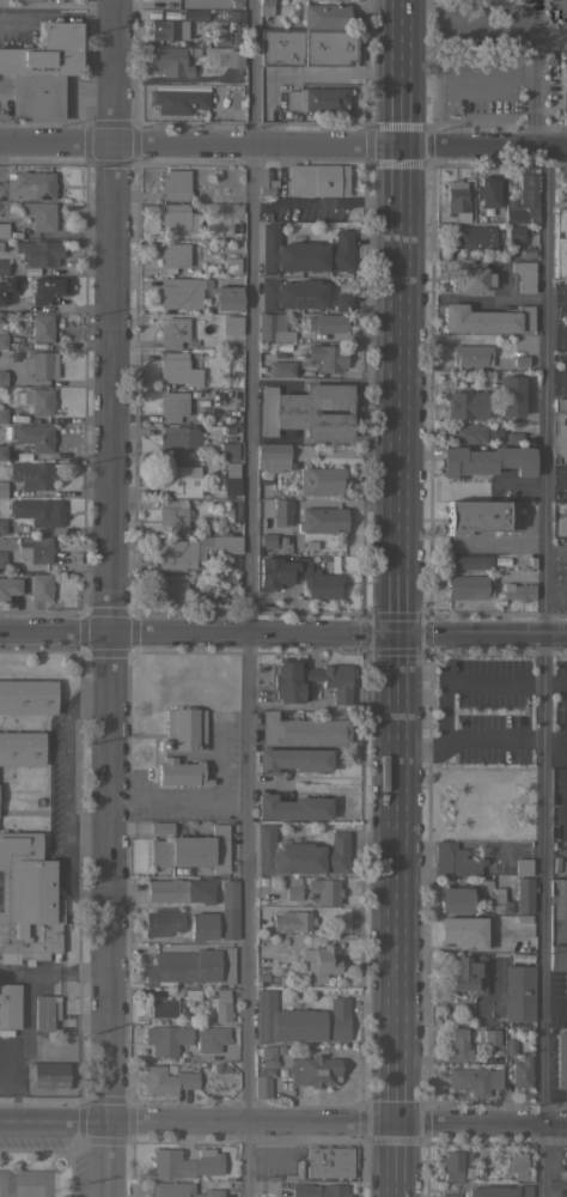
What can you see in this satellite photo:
building: (38, 0)
building: (65, 0)
building: (17, 1)
road: (54, 5)
building: (266, 7)
road: (53, 14)
building: (236, 16)
building: (325, 16)
road: (487, 23)
building: (166, 29)
road: (549, 45)
building: (309, 47)
building: (234, 57)
building: (172, 60)
building: (42, 71)
road: (532, 73)
road: (492, 74)
building: (236, 97)
building: (179, 98)
building: (317, 99)
building: (565, 101)
road: (283, 145)
building: (318, 180)
building: (267, 182)
building: (176, 184)
building: (28, 186)
building: (488, 192)
building: (457, 201)
building: (524, 201)
building: (41, 214)
building: (178, 219)
building: (4, 230)
building: (516, 235)
building: (474, 236)
building: (560, 245)
building: (39, 253)
building: (304, 253)
building: (528, 254)
building: (181, 259)
building: (230, 261)
building: (4, 267)
building: (524, 275)
building: (470, 277)
building: (8, 287)
building: (49, 288)
building: (182, 292)
building: (292, 294)
building: (227, 297)
building: (343, 302)
parking lot: (561, 316)
building: (487, 318)
building: (327, 322)
building: (232, 324)
building: (42, 327)
building: (274, 328)
building: (173, 332)
building: (4, 341)
building: (472, 354)
building: (328, 357)
building: (518, 360)
building: (41, 364)
building: (178, 369)
building: (281, 369)
building: (2, 378)
building: (512, 395)
building: (35, 400)
building: (467, 405)
building: (560, 405)
building: (173, 406)
building: (307, 411)
building: (4, 415)
building: (468, 433)
building: (35, 437)
building: (514, 438)
building: (177, 440)
building: (230, 451)
building: (2, 452)
building: (273, 456)
building: (487, 460)
road: (563, 472)
building: (32, 474)
building: (177, 480)
building: (321, 480)
building: (231, 485)
building: (2, 490)
building: (232, 510)
building: (38, 511)
building: (282, 511)
building: (173, 515)
building: (481, 516)
building: (322, 519)
building: (2, 525)
building: (268, 542)
building: (309, 546)
building: (194, 548)
building: (36, 549)
building: (566, 551)
building: (2, 560)
road: (396, 561)
building: (469, 561)
building: (322, 578)
building: (39, 585)
building: (10, 587)
building: (469, 587)
road: (555, 587)
building: (172, 589)
building: (517, 591)
road: (246, 597)
road: (105, 598)
road: (283, 632)
traffic signals: (395, 633)
road: (543, 672)
building: (334, 679)
road: (554, 680)
building: (285, 681)
road: (463, 682)
building: (28, 697)
building: (304, 729)
building: (184, 730)
road: (554, 736)
road: (468, 740)
building: (20, 747)
building: (293, 760)
building: (181, 772)
road: (65, 792)
building: (292, 807)
building: (161, 827)
building: (194, 850)
building: (300, 853)
building: (455, 861)
building: (523, 867)
building: (292, 887)
building: (179, 891)
building: (325, 891)
building: (524, 894)
building: (456, 899)
building: (28, 900)
building: (498, 901)
building: (228, 909)
building: (523, 918)
building: (292, 919)
building: (161, 922)
building: (202, 926)
building: (463, 931)
road: (164, 943)
building: (557, 955)
building: (517, 956)
building: (321, 958)
building: (190, 966)
building: (468, 973)
building: (260, 977)
building: (317, 979)
building: (519, 992)
building: (190, 995)
building: (8, 1003)
building: (221, 1005)
building: (163, 1008)
building: (44, 1011)
building: (299, 1020)
building: (490, 1037)
building: (209, 1038)
building: (165, 1039)
building: (458, 1043)
building: (508, 1047)
building: (279, 1049)
building: (267, 1056)
building: (561, 1057)
building: (215, 1068)
building: (313, 1070)
building: (522, 1073)
building: (45, 1074)
building: (165, 1080)
building: (474, 1080)
building: (262, 1086)
road: (197, 1123)
road: (481, 1124)
road: (395, 1160)
building: (329, 1161)
building: (184, 1162)
building: (451, 1163)
building: (516, 1165)
park: (32, 1172)
building: (467, 1173)
building: (481, 1173)
park: (1, 1183)
park: (26, 1184)
building: (182, 1190)
building: (318, 1190)
building: (500, 1191)
building: (283, 1192)
building: (449, 1195)

